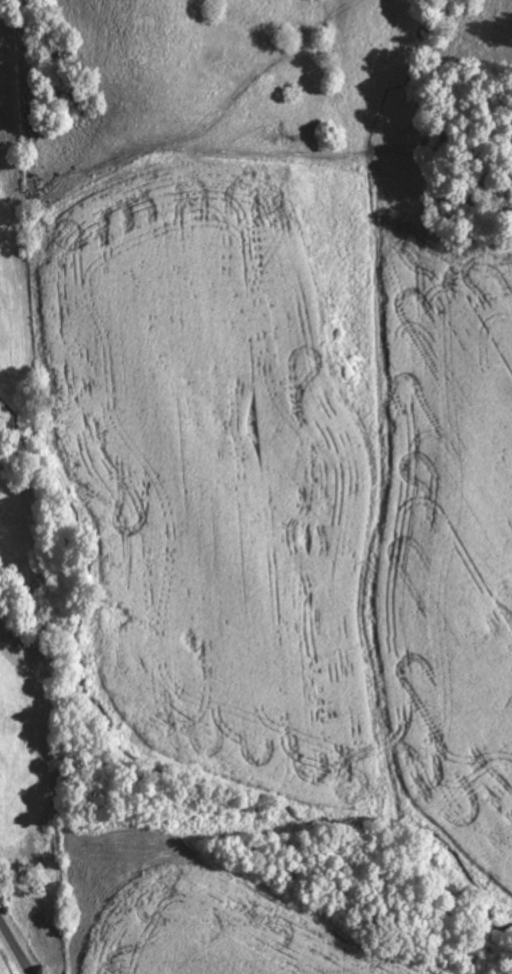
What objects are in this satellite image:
road: (13, 947)

